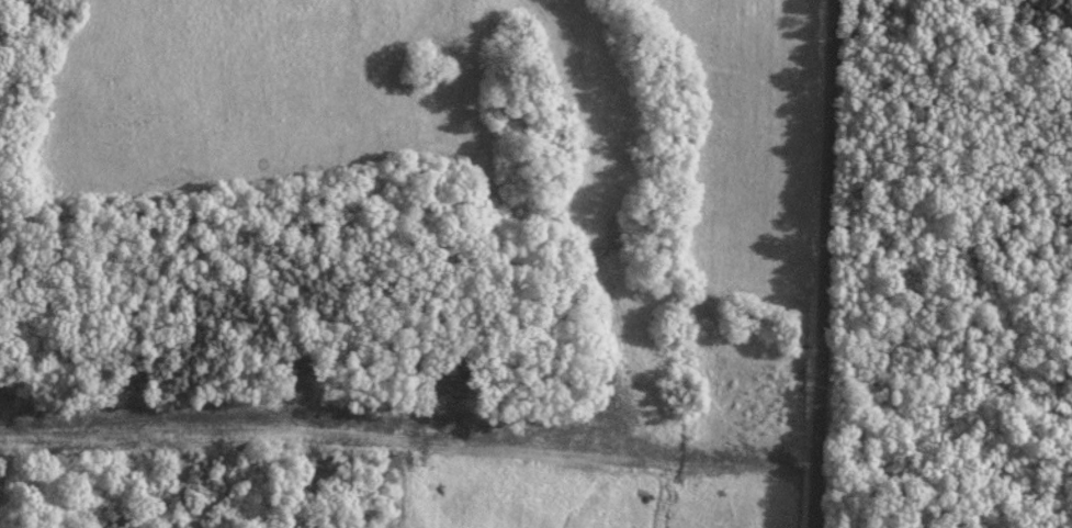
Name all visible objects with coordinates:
road: (816, 263)

